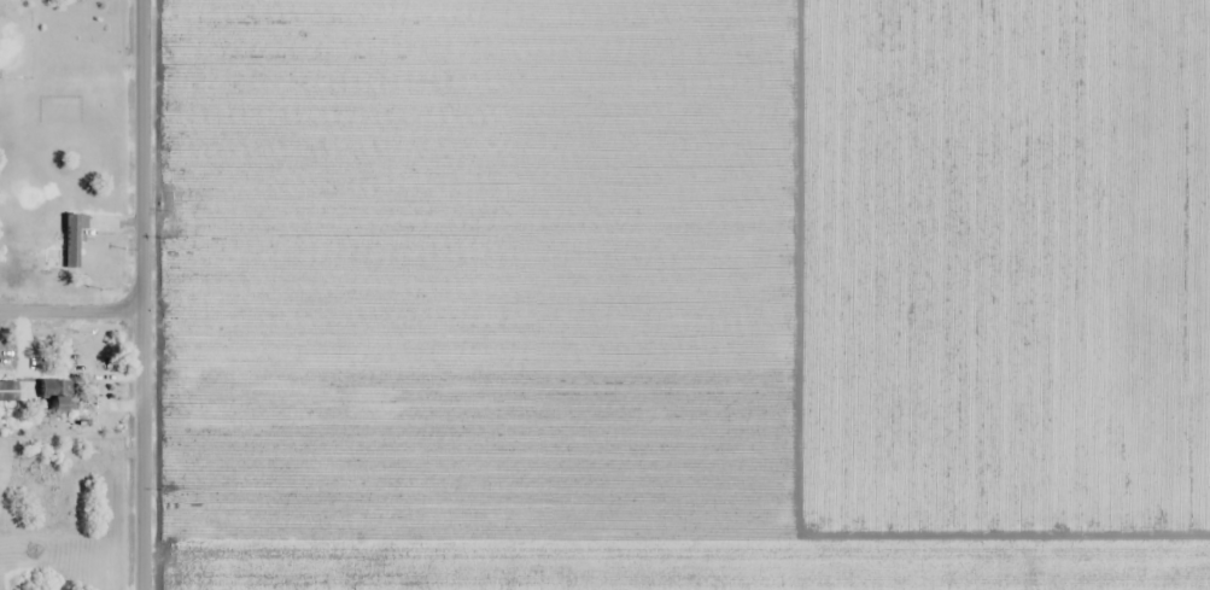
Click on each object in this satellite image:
building: (72, 241)
road: (147, 294)
road: (74, 305)
building: (59, 395)

